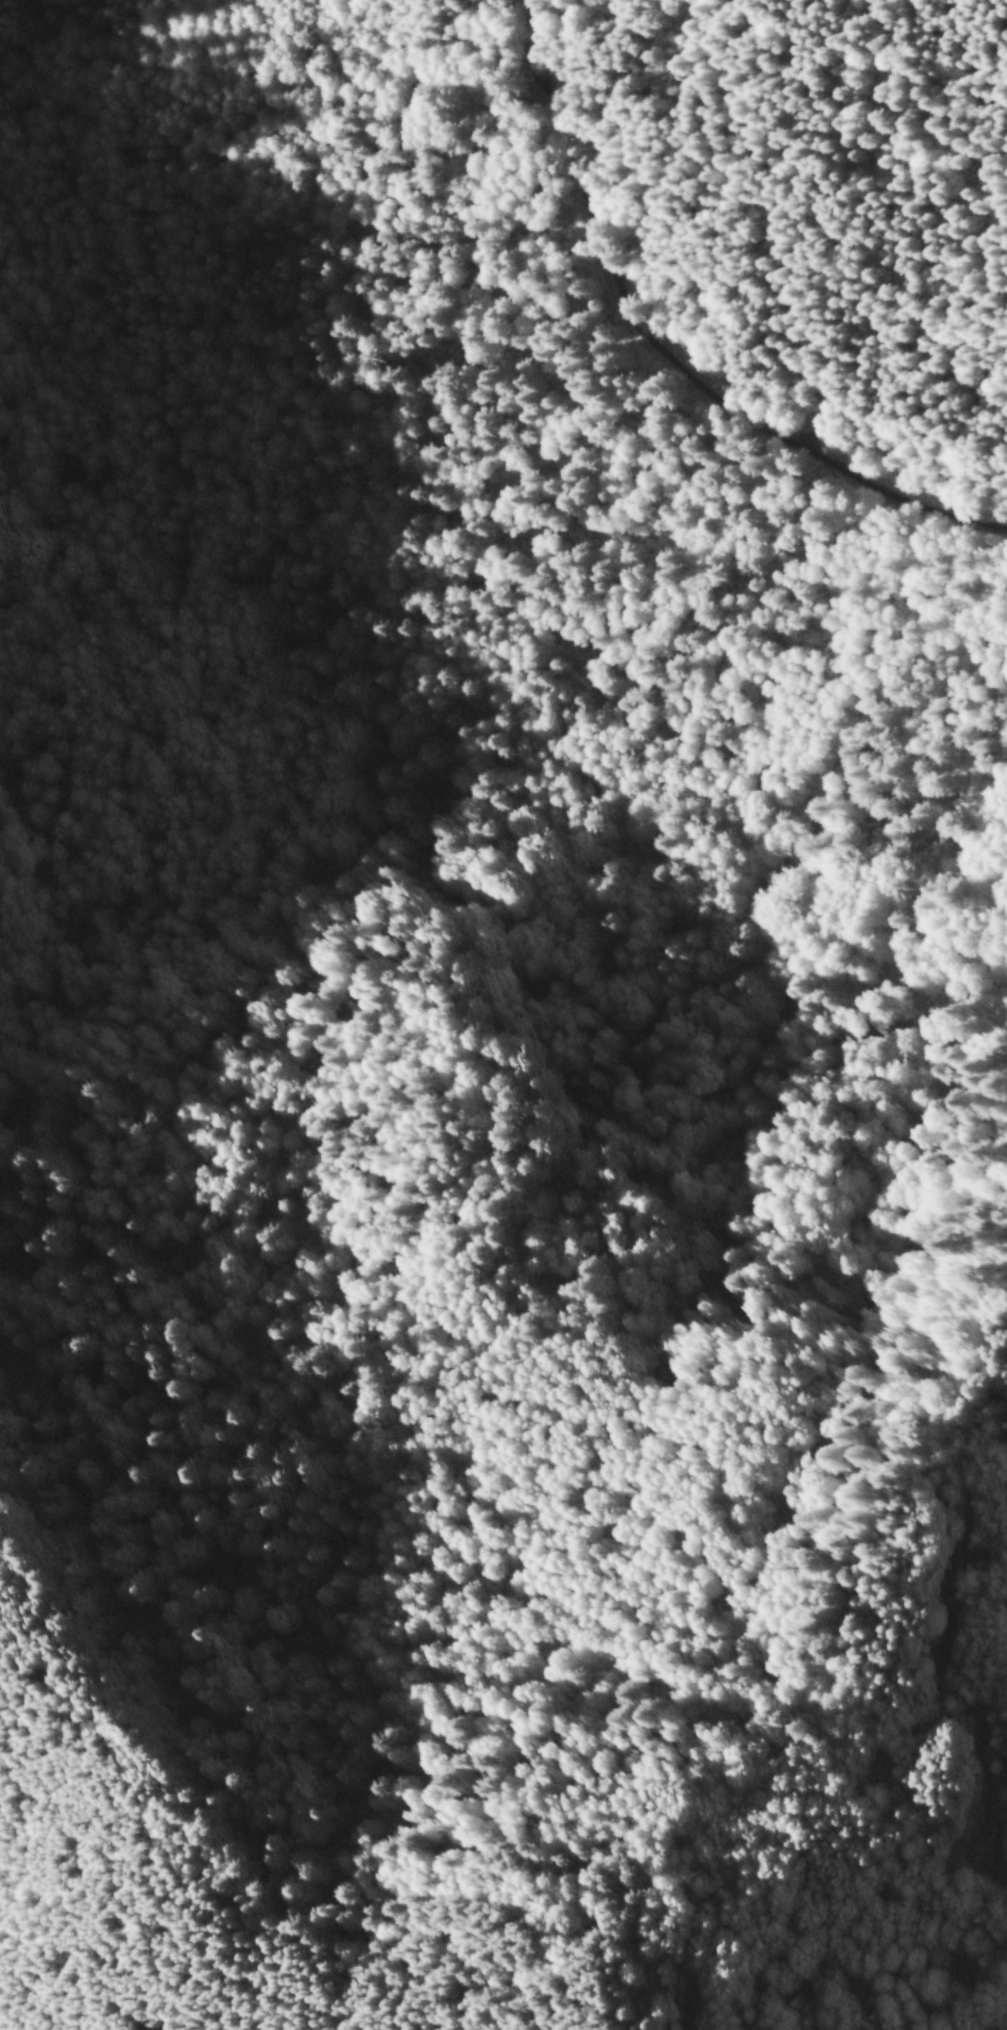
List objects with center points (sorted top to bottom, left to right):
road: (692, 342)

